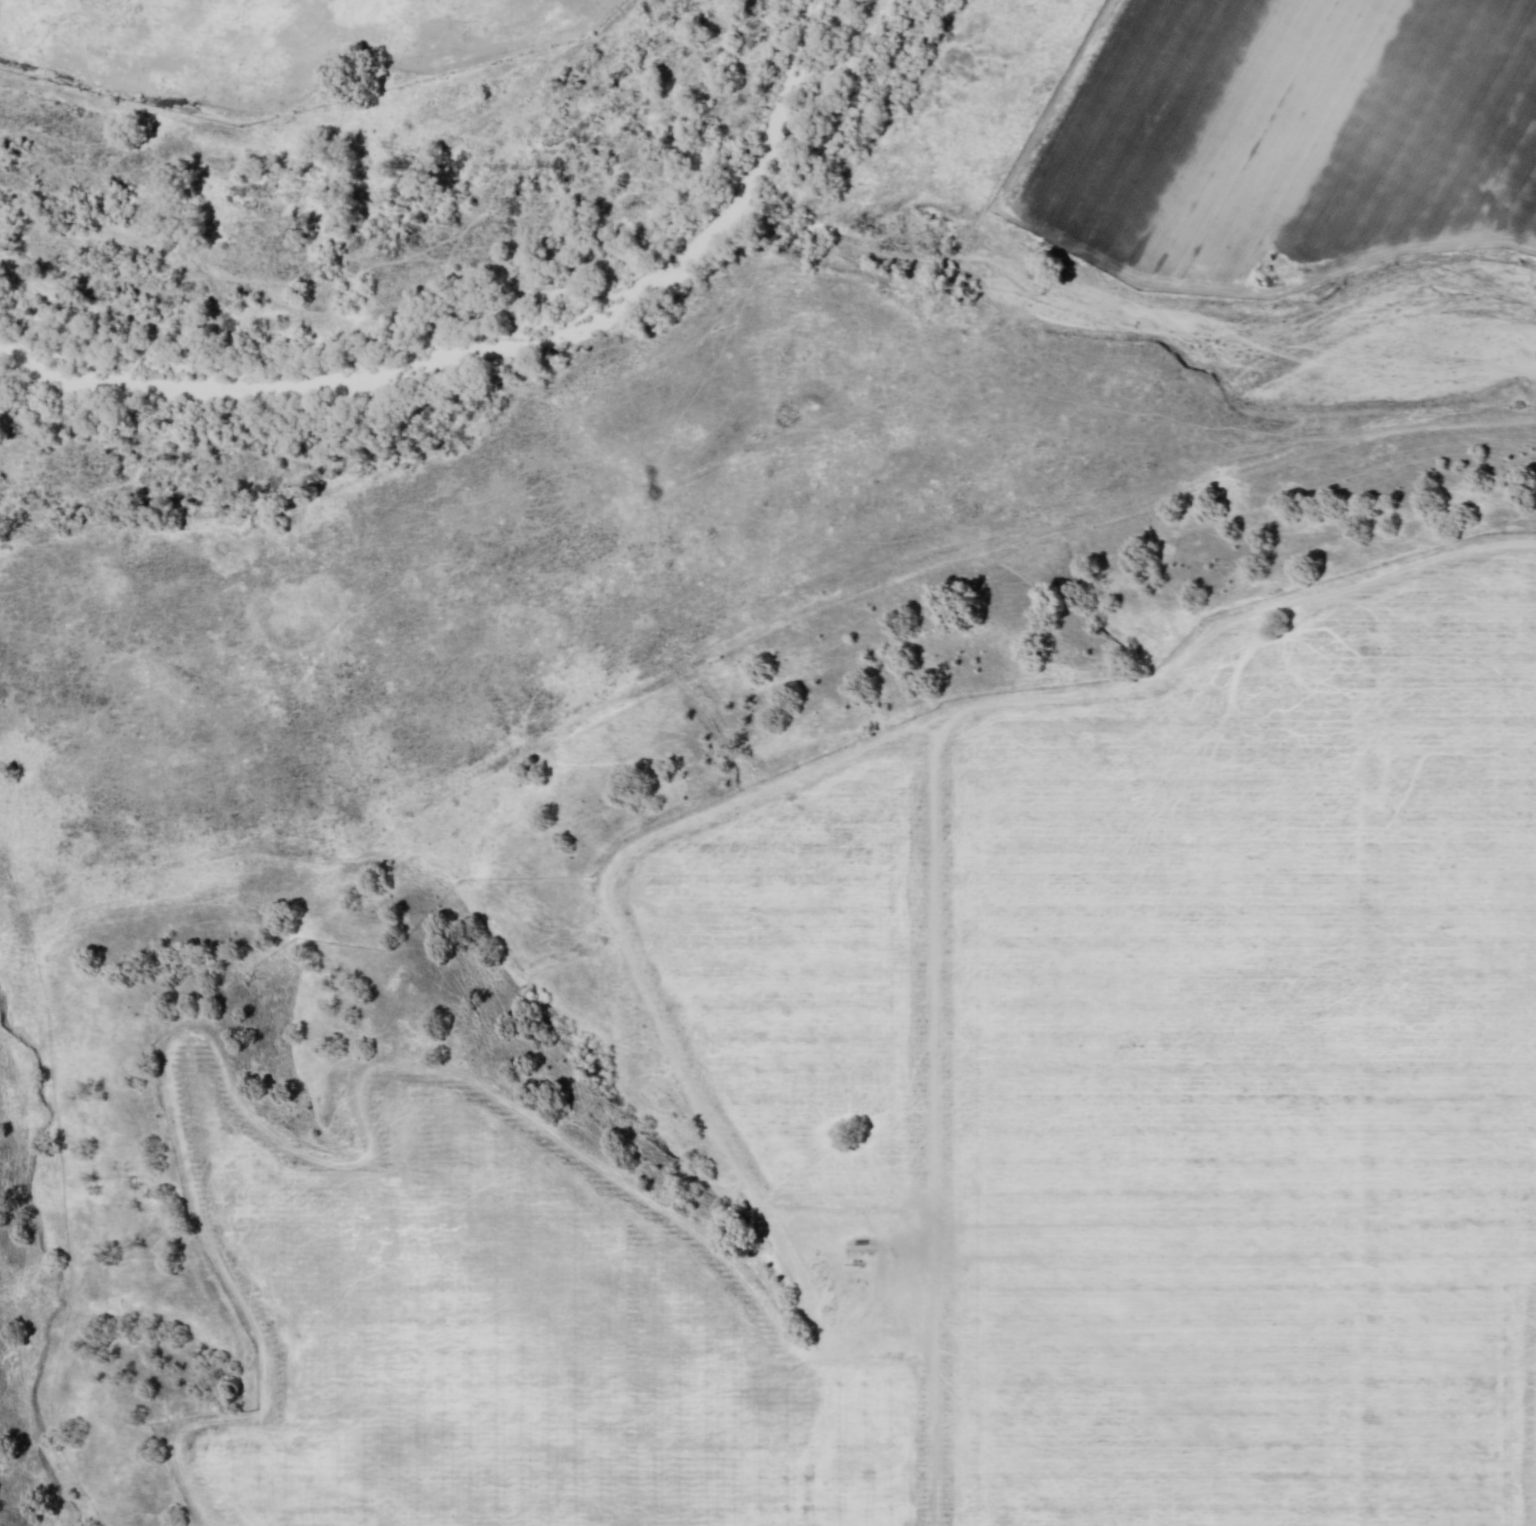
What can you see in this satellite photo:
crop: (273, 38)
river: (723, 101)
river: (325, 360)

